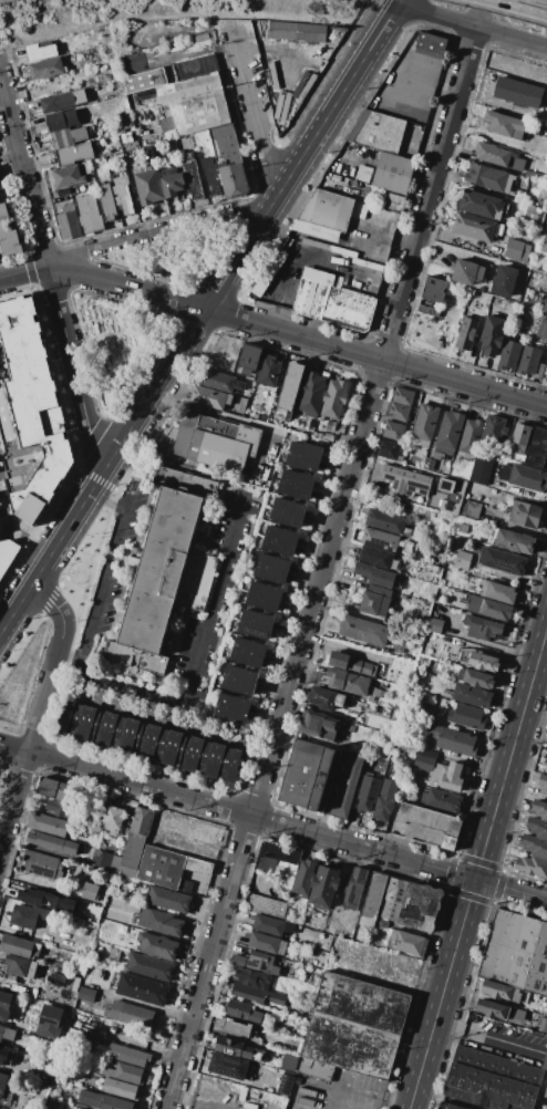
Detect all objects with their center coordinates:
road: (472, 28)
building: (295, 31)
building: (431, 43)
building: (40, 51)
road: (182, 54)
parking lot: (291, 60)
building: (45, 68)
building: (190, 69)
building: (144, 81)
building: (517, 93)
building: (79, 96)
building: (56, 102)
building: (194, 103)
road: (254, 113)
building: (61, 120)
building: (505, 124)
building: (167, 127)
building: (378, 132)
building: (69, 137)
road: (497, 139)
building: (224, 145)
building: (74, 154)
building: (148, 155)
building: (492, 155)
building: (361, 173)
building: (393, 173)
building: (210, 175)
building: (192, 176)
building: (68, 177)
building: (486, 177)
building: (233, 180)
building: (172, 185)
building: (148, 187)
building: (123, 195)
building: (106, 201)
building: (394, 203)
building: (481, 205)
building: (327, 209)
building: (3, 210)
building: (89, 214)
building: (531, 214)
building: (373, 216)
building: (69, 222)
building: (474, 227)
road: (161, 229)
building: (321, 231)
building: (9, 240)
building: (544, 245)
road: (308, 250)
building: (516, 250)
building: (467, 271)
road: (51, 272)
building: (268, 274)
building: (322, 278)
building: (504, 280)
building: (545, 284)
building: (434, 290)
building: (310, 299)
park: (138, 302)
building: (544, 307)
building: (349, 309)
building: (427, 311)
road: (199, 315)
building: (518, 317)
road: (273, 329)
building: (541, 329)
building: (466, 333)
building: (492, 334)
building: (508, 355)
building: (248, 359)
building: (528, 360)
building: (539, 371)
building: (545, 371)
building: (268, 374)
building: (217, 381)
building: (239, 384)
building: (290, 385)
building: (311, 393)
building: (403, 396)
building: (209, 397)
building: (334, 398)
building: (399, 412)
building: (424, 424)
building: (330, 425)
building: (495, 427)
building: (393, 432)
building: (448, 434)
building: (471, 437)
building: (519, 439)
building: (217, 444)
building: (537, 447)
building: (306, 449)
building: (388, 449)
building: (35, 458)
building: (301, 462)
building: (481, 470)
building: (298, 478)
building: (527, 478)
building: (406, 480)
building: (24, 490)
building: (295, 490)
building: (453, 497)
building: (290, 506)
building: (471, 509)
building: (525, 514)
building: (287, 518)
building: (386, 522)
building: (462, 528)
building: (282, 535)
building: (380, 539)
building: (514, 541)
building: (278, 547)
building: (6, 553)
road: (324, 553)
building: (375, 557)
building: (462, 560)
building: (502, 561)
building: (273, 562)
building: (476, 573)
building: (270, 574)
building: (374, 574)
road: (105, 576)
building: (163, 581)
road: (86, 588)
building: (266, 591)
building: (497, 592)
road: (215, 599)
building: (374, 600)
building: (261, 603)
building: (489, 608)
building: (257, 619)
building: (434, 624)
building: (484, 629)
building: (254, 630)
building: (363, 631)
building: (249, 646)
building: (246, 657)
building: (483, 662)
building: (351, 664)
building: (241, 674)
building: (478, 678)
building: (345, 681)
road: (125, 686)
building: (238, 686)
road: (56, 691)
building: (472, 695)
building: (327, 698)
building: (233, 702)
road: (39, 711)
road: (535, 714)
building: (230, 715)
building: (467, 716)
road: (158, 721)
building: (318, 725)
building: (452, 739)
building: (151, 742)
road: (258, 749)
building: (545, 758)
building: (424, 763)
park: (1, 773)
building: (309, 776)
building: (447, 776)
building: (343, 784)
building: (543, 784)
building: (52, 788)
building: (368, 792)
building: (385, 799)
building: (443, 800)
building: (61, 809)
building: (539, 809)
building: (112, 819)
building: (141, 821)
road: (272, 821)
building: (431, 822)
building: (48, 823)
building: (537, 828)
road: (1, 841)
building: (52, 842)
building: (535, 846)
building: (131, 854)
building: (278, 859)
building: (102, 860)
building: (42, 866)
building: (161, 867)
building: (198, 867)
building: (531, 867)
road: (478, 868)
building: (303, 878)
traffic signals: (476, 878)
building: (323, 885)
building: (355, 888)
building: (90, 891)
building: (44, 899)
building: (168, 899)
building: (392, 899)
building: (372, 900)
building: (266, 906)
building: (419, 908)
building: (28, 915)
building: (161, 921)
building: (271, 925)
building: (409, 943)
building: (267, 944)
building: (157, 945)
building: (19, 946)
building: (114, 953)
building: (516, 953)
building: (238, 961)
building: (261, 963)
building: (20, 966)
building: (149, 967)
building: (254, 978)
building: (142, 989)
building: (500, 992)
building: (86, 994)
building: (257, 994)
building: (362, 1002)
building: (4, 1005)
building: (543, 1008)
building: (492, 1009)
building: (242, 1010)
building: (131, 1014)
building: (515, 1014)
building: (50, 1022)
building: (543, 1025)
building: (237, 1027)
building: (7, 1035)
road: (488, 1038)
building: (350, 1045)
building: (233, 1047)
building: (3, 1054)
building: (127, 1055)
building: (287, 1061)
building: (545, 1061)
building: (227, 1066)
building: (314, 1069)
building: (128, 1072)
building: (491, 1080)
building: (2, 1081)
building: (283, 1086)
building: (120, 1088)
building: (545, 1092)
building: (102, 1100)
road: (194, 1102)
road: (357, 1102)
building: (448, 1106)
building: (82, 1108)

